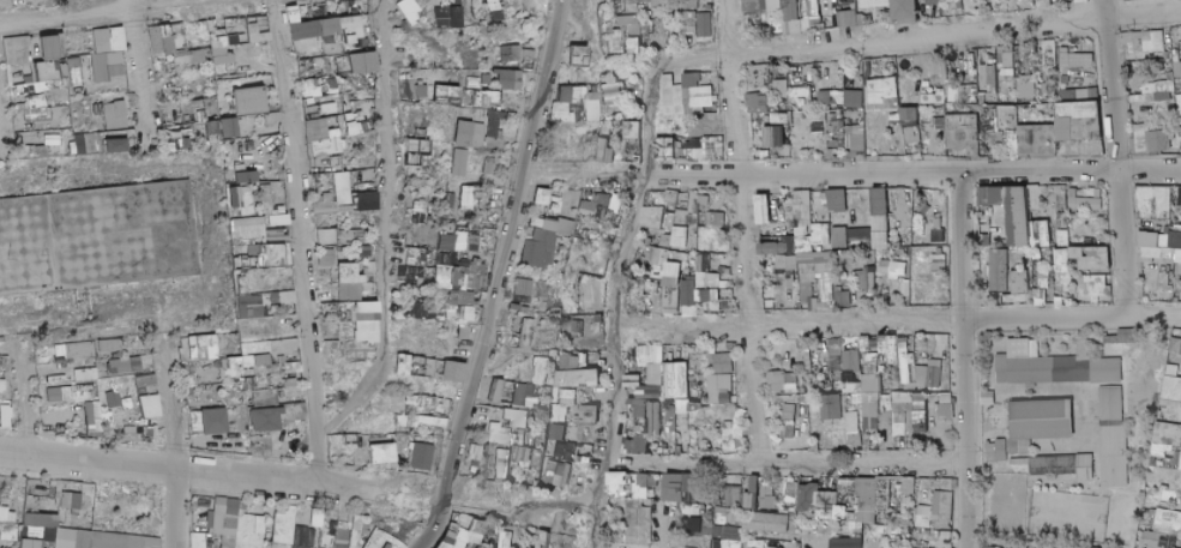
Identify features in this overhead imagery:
building: (643, 0)
building: (950, 0)
building: (1065, 1)
building: (653, 2)
building: (661, 2)
building: (848, 2)
building: (930, 2)
road: (133, 4)
building: (456, 4)
building: (692, 5)
building: (643, 6)
building: (760, 6)
building: (631, 7)
building: (707, 7)
building: (477, 8)
building: (809, 8)
road: (109, 10)
building: (408, 10)
building: (788, 10)
building: (837, 10)
building: (903, 10)
building: (576, 11)
building: (958, 11)
building: (317, 12)
building: (350, 13)
building: (302, 14)
building: (765, 14)
building: (496, 16)
building: (330, 17)
building: (446, 18)
building: (846, 18)
building: (627, 19)
building: (332, 22)
building: (319, 23)
building: (347, 23)
building: (687, 23)
building: (701, 23)
building: (609, 24)
building: (814, 24)
building: (242, 26)
building: (329, 26)
building: (773, 26)
building: (791, 26)
building: (229, 28)
building: (366, 29)
building: (305, 30)
building: (512, 30)
building: (582, 30)
building: (633, 30)
building: (617, 32)
building: (644, 32)
building: (100, 34)
building: (217, 34)
building: (257, 34)
road: (911, 38)
building: (237, 40)
building: (114, 41)
building: (165, 41)
building: (155, 42)
building: (329, 42)
building: (1143, 42)
building: (97, 43)
building: (261, 44)
building: (494, 44)
building: (615, 44)
building: (632, 44)
building: (58, 46)
building: (1061, 47)
building: (46, 48)
building: (592, 49)
building: (16, 52)
building: (180, 52)
building: (217, 52)
building: (248, 52)
building: (1058, 53)
building: (1173, 53)
building: (505, 54)
building: (982, 54)
building: (1179, 55)
building: (577, 56)
building: (114, 58)
road: (140, 58)
building: (353, 58)
building: (222, 59)
building: (98, 60)
building: (181, 60)
building: (999, 60)
building: (1007, 60)
building: (77, 61)
building: (1046, 61)
building: (1068, 61)
building: (1085, 62)
building: (983, 64)
building: (29, 67)
building: (593, 67)
building: (1031, 67)
building: (1176, 70)
building: (990, 71)
building: (984, 72)
building: (1052, 72)
building: (848, 73)
building: (950, 74)
building: (574, 76)
building: (705, 76)
building: (1084, 76)
building: (52, 77)
building: (74, 77)
building: (447, 77)
building: (588, 77)
building: (691, 77)
building: (400, 78)
building: (486, 78)
building: (861, 78)
building: (506, 79)
building: (758, 79)
building: (948, 79)
building: (1065, 79)
building: (227, 82)
building: (522, 82)
building: (849, 82)
building: (44, 83)
building: (59, 83)
building: (179, 83)
building: (471, 83)
building: (307, 84)
building: (687, 84)
building: (329, 85)
building: (458, 86)
building: (781, 86)
building: (1012, 86)
building: (11, 88)
building: (20, 88)
building: (825, 88)
building: (404, 89)
building: (993, 89)
building: (84, 90)
building: (507, 90)
building: (593, 90)
building: (881, 90)
building: (1026, 90)
building: (418, 91)
building: (1047, 91)
building: (312, 92)
building: (469, 92)
building: (580, 94)
building: (965, 94)
building: (1155, 94)
building: (504, 95)
building: (562, 95)
building: (764, 95)
building: (611, 96)
building: (700, 96)
building: (1073, 96)
building: (60, 97)
building: (934, 97)
building: (971, 97)
building: (48, 98)
building: (484, 98)
building: (832, 98)
building: (854, 100)
building: (230, 101)
building: (247, 101)
building: (306, 101)
building: (32, 102)
building: (1012, 102)
building: (1035, 102)
building: (755, 103)
building: (350, 104)
building: (760, 104)
building: (784, 104)
building: (885, 104)
building: (19, 106)
building: (766, 106)
building: (16, 108)
building: (95, 108)
building: (940, 108)
building: (269, 109)
building: (62, 110)
building: (185, 110)
building: (513, 110)
building: (163, 112)
building: (590, 112)
building: (341, 113)
building: (482, 113)
building: (560, 113)
building: (915, 113)
building: (112, 114)
building: (195, 114)
building: (577, 114)
building: (761, 114)
road: (1, 115)
building: (28, 115)
building: (494, 115)
building: (610, 116)
building: (267, 118)
building: (511, 118)
building: (909, 118)
building: (42, 119)
building: (603, 119)
building: (766, 119)
building: (790, 119)
building: (896, 119)
building: (1081, 119)
building: (570, 120)
building: (1006, 120)
building: (349, 121)
building: (779, 121)
building: (858, 121)
building: (321, 122)
building: (342, 124)
building: (266, 125)
building: (932, 125)
building: (53, 126)
building: (207, 126)
building: (360, 126)
building: (834, 126)
building: (924, 126)
building: (755, 127)
building: (920, 127)
building: (227, 128)
building: (492, 128)
road: (638, 128)
building: (1063, 128)
building: (897, 130)
building: (349, 131)
building: (614, 131)
building: (911, 131)
building: (305, 132)
building: (317, 132)
building: (462, 133)
building: (773, 133)
building: (964, 133)
building: (173, 134)
building: (476, 134)
building: (498, 134)
building: (115, 136)
building: (35, 137)
building: (855, 138)
building: (58, 139)
building: (187, 139)
building: (48, 140)
building: (1037, 140)
building: (1158, 140)
building: (628, 141)
building: (90, 143)
building: (76, 144)
building: (176, 144)
building: (492, 144)
building: (112, 145)
building: (201, 145)
building: (246, 145)
building: (339, 145)
building: (837, 145)
building: (167, 146)
building: (320, 146)
building: (910, 146)
building: (68, 147)
building: (663, 147)
building: (703, 147)
building: (1078, 147)
building: (103, 149)
building: (25, 151)
building: (36, 151)
building: (603, 151)
building: (165, 152)
building: (417, 152)
building: (902, 152)
road: (1117, 152)
building: (833, 153)
building: (18, 155)
building: (764, 155)
building: (850, 155)
building: (496, 156)
building: (490, 159)
building: (459, 162)
building: (319, 165)
building: (488, 168)
building: (415, 171)
road: (905, 171)
building: (242, 175)
building: (278, 177)
building: (314, 179)
road: (573, 181)
building: (324, 185)
building: (477, 188)
building: (498, 191)
building: (921, 191)
building: (338, 192)
building: (860, 192)
building: (941, 192)
building: (1072, 193)
building: (1097, 193)
building: (477, 194)
building: (987, 194)
building: (669, 195)
building: (715, 195)
building: (999, 195)
building: (231, 197)
building: (465, 197)
building: (541, 197)
building: (350, 198)
building: (680, 198)
building: (824, 198)
building: (1176, 198)
building: (264, 199)
building: (701, 199)
building: (1062, 199)
building: (363, 200)
building: (448, 200)
building: (603, 200)
building: (837, 200)
building: (1173, 200)
building: (245, 201)
building: (880, 201)
building: (420, 203)
building: (477, 203)
building: (484, 203)
building: (1084, 203)
building: (323, 204)
building: (613, 204)
building: (1153, 204)
building: (553, 206)
building: (595, 207)
building: (918, 207)
building: (278, 210)
building: (764, 210)
building: (691, 211)
building: (800, 215)
building: (1059, 215)
building: (1073, 215)
building: (1079, 215)
building: (647, 216)
building: (1019, 217)
building: (493, 218)
building: (713, 218)
building: (420, 219)
building: (571, 219)
building: (599, 219)
building: (918, 219)
building: (537, 221)
building: (532, 222)
building: (880, 223)
building: (548, 224)
building: (938, 224)
building: (586, 227)
road: (384, 228)
building: (445, 228)
building: (562, 228)
building: (664, 228)
building: (1175, 228)
building: (239, 229)
building: (471, 229)
road: (737, 229)
building: (917, 229)
building: (775, 230)
building: (1167, 230)
building: (482, 233)
building: (707, 234)
building: (791, 234)
building: (818, 234)
building: (1041, 234)
building: (938, 235)
building: (356, 236)
building: (427, 236)
building: (677, 236)
building: (325, 237)
building: (343, 237)
building: (852, 237)
building: (1107, 237)
building: (284, 239)
building: (1145, 239)
road: (299, 240)
building: (646, 240)
building: (766, 240)
building: (881, 240)
building: (1175, 240)
building: (458, 241)
building: (663, 241)
building: (790, 241)
building: (1159, 241)
building: (446, 242)
building: (470, 242)
road: (501, 242)
building: (921, 242)
building: (1087, 242)
building: (1093, 243)
building: (896, 245)
building: (537, 248)
building: (561, 248)
building: (688, 248)
building: (777, 249)
building: (818, 249)
building: (368, 251)
building: (422, 251)
building: (906, 251)
building: (840, 252)
building: (870, 252)
building: (902, 252)
building: (1151, 252)
building: (1165, 252)
building: (1087, 253)
building: (481, 254)
building: (1037, 254)
building: (277, 255)
building: (412, 255)
building: (676, 255)
building: (1063, 255)
building: (326, 257)
building: (813, 257)
building: (844, 257)
building: (1026, 257)
building: (655, 258)
building: (1092, 258)
building: (257, 260)
building: (450, 260)
building: (464, 261)
building: (701, 261)
building: (422, 263)
building: (435, 263)
building: (791, 263)
building: (940, 263)
building: (1038, 263)
building: (713, 264)
building: (560, 265)
building: (693, 265)
building: (700, 265)
building: (770, 265)
building: (781, 265)
building: (548, 266)
building: (675, 266)
building: (891, 266)
building: (1055, 267)
building: (807, 269)
building: (271, 270)
building: (1000, 270)
building: (1168, 270)
building: (402, 271)
building: (410, 271)
building: (423, 271)
building: (430, 271)
building: (725, 271)
building: (349, 273)
building: (794, 273)
building: (249, 275)
building: (472, 275)
building: (990, 275)
building: (1171, 275)
building: (1052, 276)
building: (271, 277)
building: (450, 277)
building: (722, 277)
building: (893, 277)
building: (687, 278)
building: (984, 278)
building: (1063, 278)
building: (1153, 278)
building: (412, 279)
building: (544, 279)
building: (647, 279)
building: (1044, 279)
building: (1146, 279)
building: (866, 281)
building: (1053, 281)
building: (1163, 281)
building: (681, 282)
building: (824, 282)
building: (1022, 283)
building: (242, 284)
building: (791, 284)
building: (554, 285)
building: (1052, 285)
building: (1095, 285)
building: (406, 287)
building: (418, 288)
building: (649, 288)
building: (43, 289)
building: (364, 289)
building: (524, 289)
building: (1078, 289)
building: (442, 290)
building: (657, 290)
building: (348, 291)
building: (363, 293)
building: (689, 293)
building: (36, 294)
building: (541, 294)
building: (701, 294)
building: (1159, 294)
building: (669, 295)
building: (885, 295)
building: (1180, 295)
building: (1041, 296)
building: (275, 297)
building: (453, 299)
building: (717, 299)
building: (842, 299)
building: (465, 300)
building: (1059, 300)
building: (562, 301)
building: (661, 301)
building: (870, 301)
building: (649, 302)
building: (700, 302)
building: (1026, 302)
building: (1071, 302)
building: (277, 303)
building: (812, 303)
building: (824, 305)
building: (249, 306)
building: (531, 306)
building: (706, 306)
building: (364, 307)
building: (420, 309)
building: (689, 309)
building: (721, 309)
building: (699, 311)
building: (247, 312)
building: (263, 312)
building: (555, 312)
building: (596, 312)
building: (373, 315)
building: (402, 315)
building: (465, 315)
building: (91, 317)
building: (360, 317)
road: (896, 317)
building: (440, 318)
building: (597, 318)
road: (611, 321)
building: (576, 326)
building: (366, 331)
building: (526, 331)
building: (1176, 332)
building: (218, 337)
building: (1, 338)
building: (880, 338)
building: (218, 343)
building: (107, 344)
building: (272, 344)
building: (799, 344)
building: (863, 344)
building: (138, 345)
building: (713, 345)
building: (730, 345)
building: (811, 345)
building: (1175, 345)
building: (254, 347)
building: (201, 348)
building: (834, 348)
building: (911, 348)
building: (78, 349)
building: (185, 349)
building: (891, 350)
building: (1086, 350)
building: (685, 351)
building: (237, 353)
building: (552, 353)
building: (353, 354)
building: (118, 355)
building: (646, 356)
building: (807, 359)
building: (869, 359)
road: (971, 359)
building: (261, 360)
building: (247, 361)
building: (279, 361)
building: (411, 361)
building: (580, 361)
building: (133, 362)
building: (567, 362)
building: (599, 362)
building: (721, 362)
building: (825, 362)
building: (850, 362)
building: (2, 363)
building: (1026, 363)
building: (296, 365)
building: (402, 365)
building: (107, 366)
building: (119, 366)
building: (237, 366)
building: (92, 367)
building: (229, 367)
building: (429, 367)
building: (775, 367)
building: (800, 367)
building: (540, 368)
building: (881, 369)
building: (906, 369)
building: (266, 371)
building: (409, 371)
building: (417, 371)
building: (450, 371)
building: (788, 371)
building: (1108, 371)
building: (273, 373)
building: (627, 373)
building: (869, 373)
building: (591, 374)
building: (838, 375)
building: (254, 377)
building: (934, 377)
building: (568, 378)
building: (691, 378)
building: (144, 379)
building: (240, 379)
building: (267, 379)
building: (677, 379)
building: (645, 380)
building: (631, 381)
building: (299, 383)
building: (727, 383)
building: (783, 383)
building: (454, 384)
building: (656, 384)
building: (1, 385)
building: (836, 385)
building: (852, 387)
building: (872, 387)
building: (113, 389)
building: (1168, 390)
building: (291, 391)
building: (502, 391)
building: (647, 391)
building: (663, 391)
building: (942, 391)
building: (70, 392)
building: (629, 392)
building: (145, 393)
building: (279, 393)
building: (1180, 393)
building: (522, 395)
building: (898, 395)
building: (923, 396)
building: (235, 397)
building: (264, 397)
building: (715, 397)
building: (869, 397)
building: (909, 397)
building: (112, 398)
building: (693, 398)
building: (725, 398)
building: (945, 398)
building: (989, 398)
building: (857, 399)
building: (411, 401)
road: (26, 402)
building: (249, 402)
building: (450, 402)
building: (126, 403)
building: (440, 403)
building: (560, 403)
building: (1113, 403)
building: (153, 404)
building: (692, 404)
building: (700, 404)
building: (885, 404)
building: (424, 405)
building: (537, 405)
building: (544, 407)
building: (635, 407)
building: (681, 407)
building: (718, 408)
building: (41, 409)
building: (523, 409)
building: (290, 411)
building: (500, 411)
road: (173, 412)
building: (438, 412)
building: (131, 414)
building: (482, 414)
building: (586, 414)
building: (906, 414)
building: (921, 415)
building: (1180, 416)
building: (104, 417)
building: (519, 417)
building: (645, 417)
building: (91, 418)
building: (113, 418)
building: (265, 418)
building: (701, 418)
building: (833, 418)
building: (400, 420)
building: (195, 421)
building: (213, 421)
building: (412, 421)
building: (432, 421)
building: (788, 421)
building: (650, 422)
building: (1043, 422)
building: (1180, 422)
building: (635, 423)
building: (899, 423)
building: (571, 424)
building: (530, 427)
building: (869, 429)
building: (495, 432)
building: (520, 432)
building: (554, 432)
building: (852, 432)
building: (1161, 432)
building: (438, 434)
building: (728, 434)
building: (149, 435)
building: (683, 435)
building: (350, 439)
building: (422, 439)
building: (516, 439)
building: (529, 439)
building: (536, 439)
building: (706, 442)
building: (260, 444)
building: (634, 444)
building: (719, 444)
building: (621, 445)
building: (663, 446)
building: (487, 447)
building: (650, 447)
building: (814, 447)
building: (893, 447)
building: (911, 447)
building: (399, 450)
building: (415, 450)
building: (562, 450)
building: (687, 450)
building: (1179, 450)
building: (1170, 451)
building: (998, 452)
building: (381, 453)
building: (522, 453)
building: (582, 453)
building: (536, 457)
building: (1116, 457)
building: (424, 458)
road: (793, 459)
building: (1164, 460)
building: (480, 462)
building: (501, 464)
building: (376, 465)
building: (524, 465)
building: (1066, 466)
road: (187, 468)
building: (426, 470)
building: (552, 472)
building: (628, 476)
building: (572, 477)
building: (641, 477)
building: (615, 478)
building: (803, 483)
building: (754, 484)
building: (743, 486)
building: (848, 486)
building: (562, 487)
building: (700, 487)
building: (909, 487)
building: (56, 488)
building: (556, 488)
building: (674, 488)
building: (688, 488)
building: (577, 490)
building: (611, 490)
building: (632, 492)
building: (733, 492)
building: (789, 492)
building: (716, 496)
building: (808, 496)
building: (882, 496)
building: (688, 498)
building: (766, 498)
building: (43, 499)
road: (541, 499)
building: (70, 500)
building: (30, 504)
building: (241, 505)
building: (231, 506)
building: (942, 506)
road: (179, 507)
building: (287, 510)
building: (326, 512)
building: (862, 512)
building: (6, 516)
building: (317, 517)
building: (350, 518)
road: (433, 518)
building: (38, 519)
building: (249, 523)
building: (637, 523)
building: (766, 523)
building: (217, 524)
building: (229, 524)
building: (698, 525)
building: (283, 529)
building: (1164, 529)
building: (8, 534)
building: (48, 534)
building: (729, 534)
building: (71, 535)
building: (342, 535)
building: (30, 536)
building: (299, 536)
building: (82, 538)
building: (309, 538)
building: (542, 538)
building: (108, 540)
building: (197, 540)
building: (247, 540)
building: (504, 540)
building: (553, 540)
building: (134, 541)
building: (228, 541)
building: (384, 541)
building: (151, 542)
building: (717, 543)
building: (60, 546)
building: (94, 547)
building: (1069, 547)

